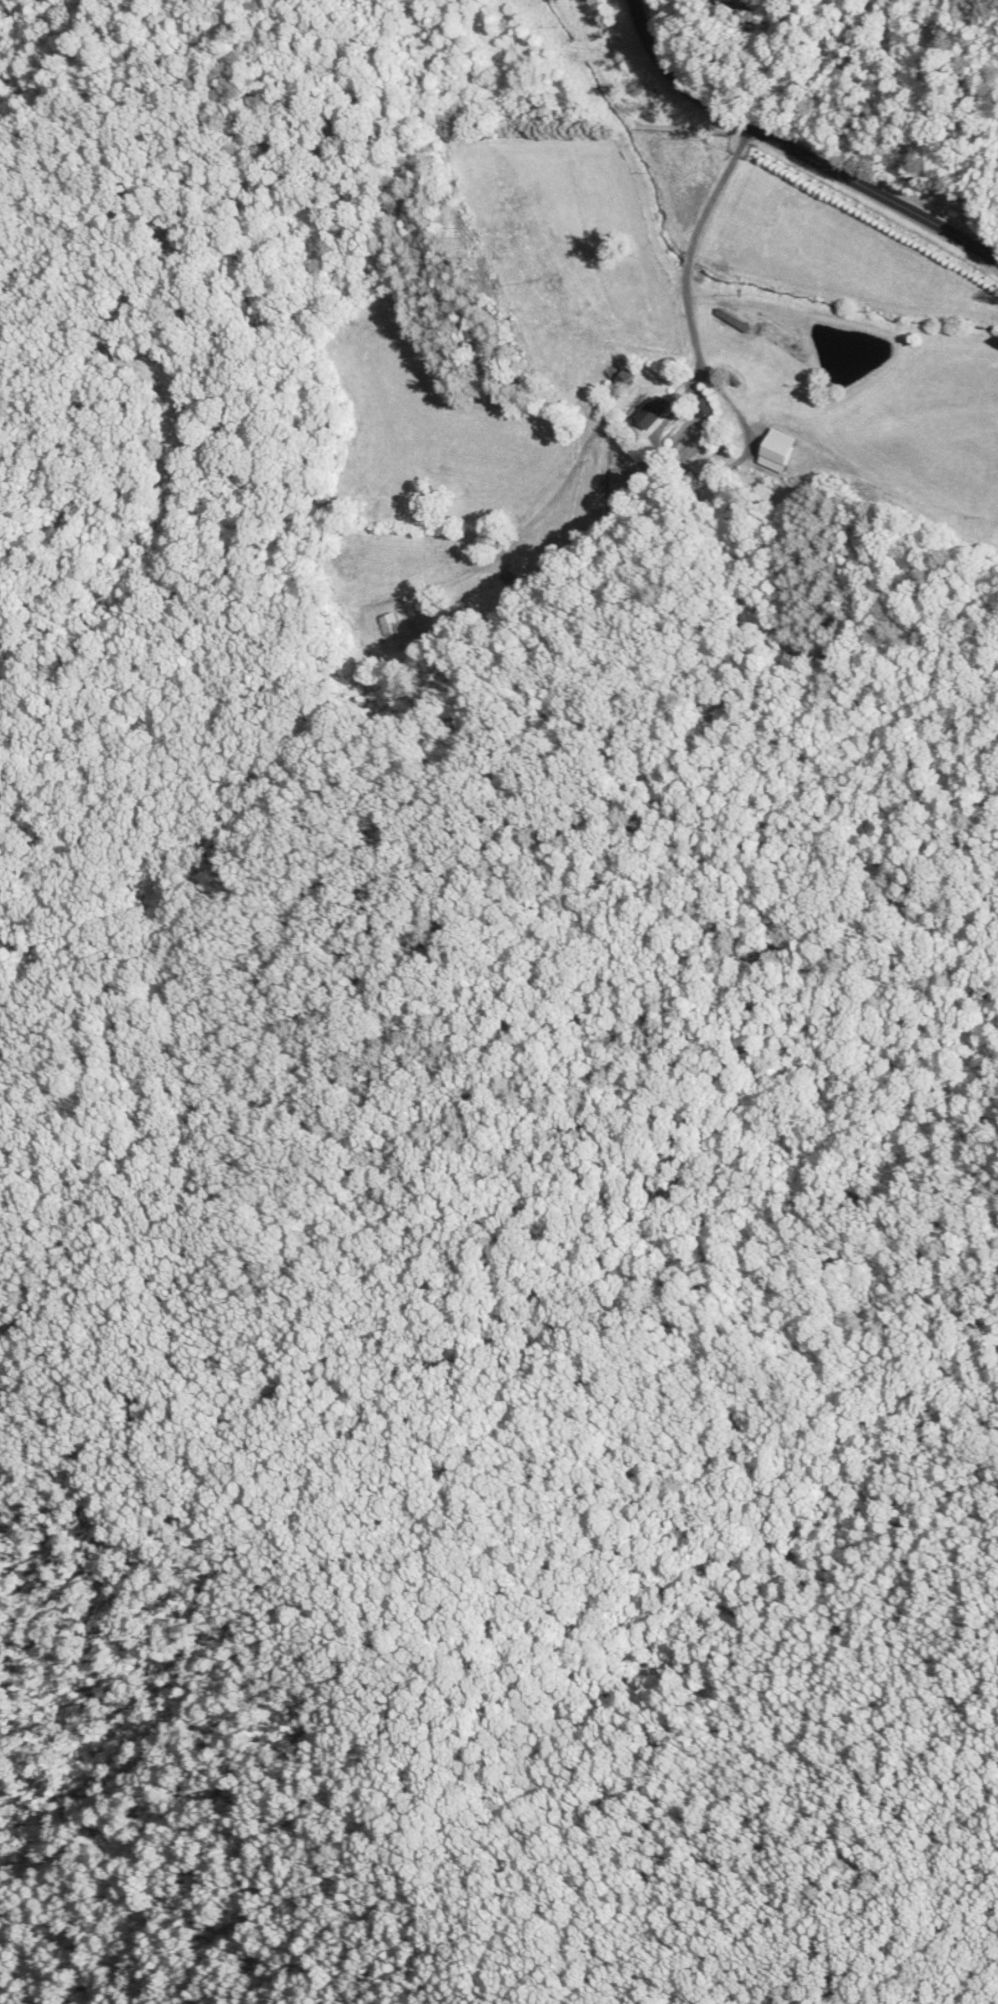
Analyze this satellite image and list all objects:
road: (793, 152)
road: (679, 261)
building: (643, 414)
building: (768, 449)
building: (612, 486)

